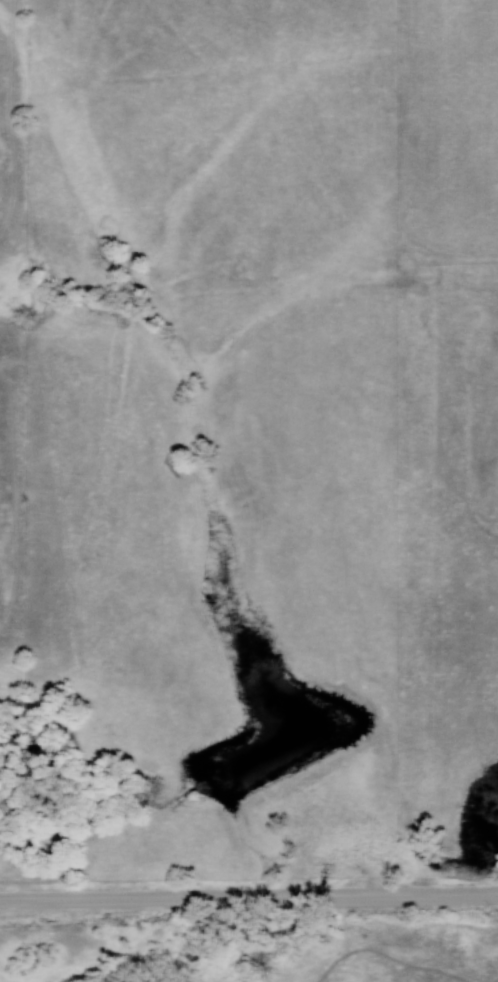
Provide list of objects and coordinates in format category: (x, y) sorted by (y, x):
road: (249, 901)

